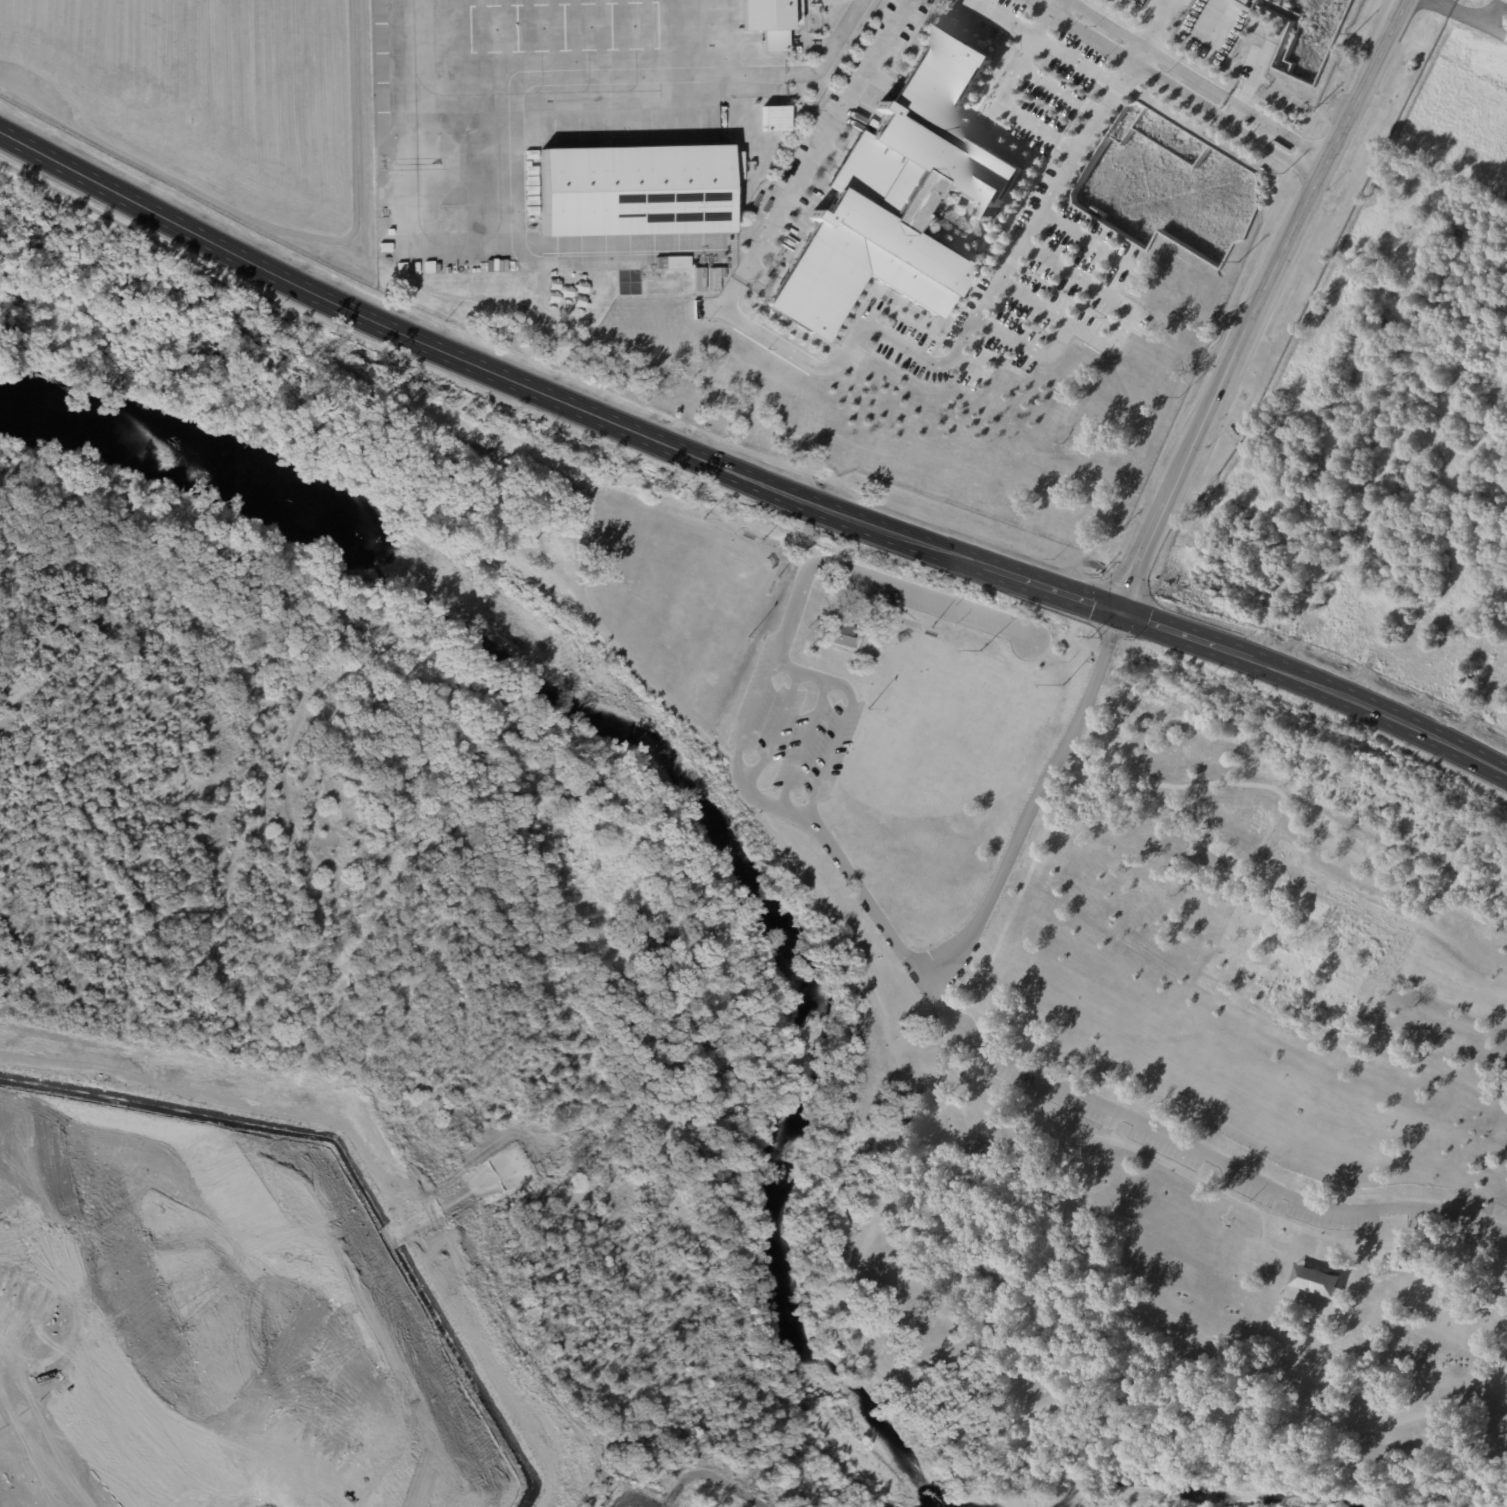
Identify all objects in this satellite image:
road: (1208, 1)
building: (767, 22)
road: (1042, 23)
road: (1044, 43)
road: (1200, 80)
road: (1178, 89)
road: (1058, 90)
road: (1007, 108)
airport taxiway: (416, 109)
building: (775, 119)
road: (820, 143)
building: (637, 189)
building: (905, 193)
road: (1296, 235)
road: (144, 236)
airport: (928, 252)
road: (968, 335)
road: (483, 369)
building: (1008, 420)
road: (1153, 543)
road: (1051, 592)
building: (844, 636)
road: (1185, 638)
road: (1100, 667)
road: (785, 668)
road: (830, 682)
road: (762, 685)
road: (1380, 715)
road: (777, 732)
road: (802, 745)
road: (828, 762)
road: (1224, 783)
river: (685, 794)
road: (1381, 871)
park: (1063, 984)
road: (954, 999)
road: (891, 1050)
road: (1004, 1081)
road: (1050, 1082)
parking lot: (1051, 1095)
road: (962, 1117)
parking lot: (1164, 1149)
building: (980, 1150)
road: (1188, 1178)
parking lot: (1245, 1189)
parking lot: (1331, 1219)
parking lot: (1443, 1230)
road: (926, 1233)
building: (997, 1269)
landfill: (232, 1310)
road: (707, 1475)
landfill: (730, 1480)
river: (1175, 1497)

